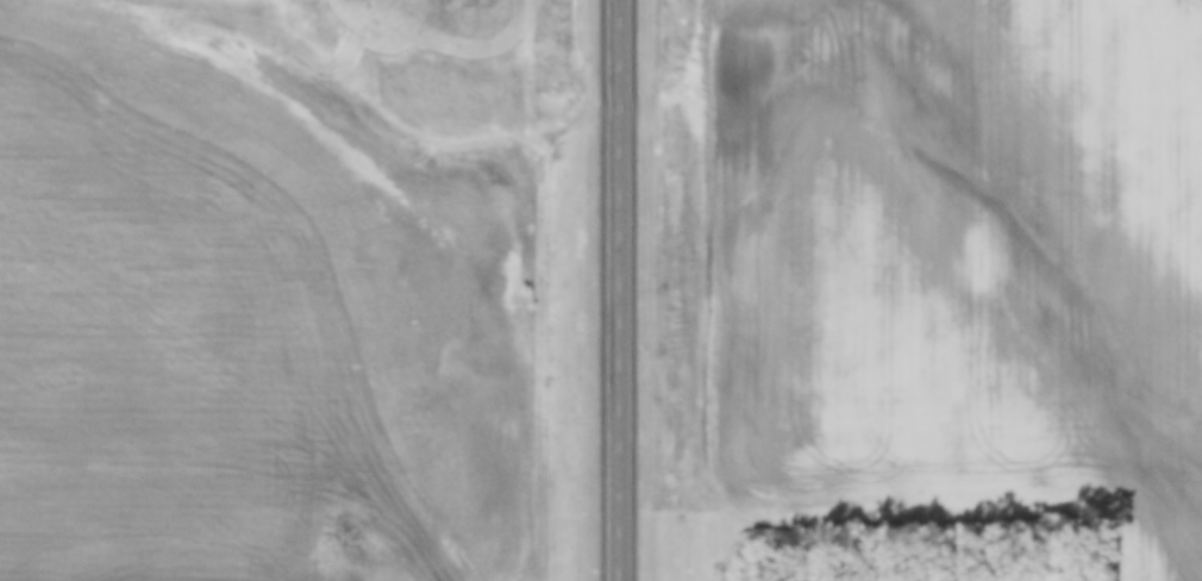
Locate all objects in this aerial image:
road: (615, 290)

